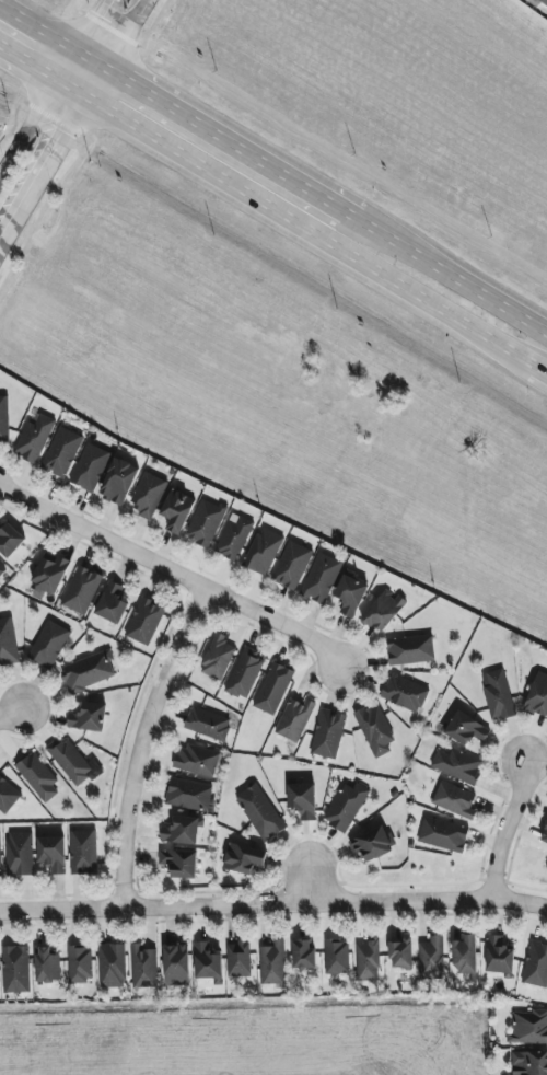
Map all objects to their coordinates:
building: (543, 1)
road: (51, 37)
road: (28, 61)
road: (53, 85)
road: (72, 120)
road: (229, 143)
road: (294, 222)
road: (400, 245)
road: (497, 303)
road: (539, 370)
building: (3, 419)
building: (34, 437)
building: (61, 452)
building: (90, 467)
building: (118, 482)
building: (148, 495)
building: (177, 510)
building: (206, 523)
building: (234, 537)
building: (10, 540)
building: (264, 552)
building: (292, 565)
building: (2, 569)
building: (50, 573)
road: (172, 575)
building: (322, 578)
building: (0, 583)
building: (81, 590)
building: (351, 594)
building: (112, 603)
building: (384, 611)
building: (146, 621)
building: (8, 643)
building: (49, 644)
building: (410, 649)
building: (218, 658)
building: (88, 672)
building: (245, 673)
building: (273, 689)
building: (405, 693)
building: (538, 695)
building: (499, 696)
road: (9, 712)
building: (89, 717)
building: (294, 719)
building: (208, 724)
building: (466, 729)
building: (375, 731)
building: (328, 733)
road: (140, 741)
building: (70, 760)
building: (197, 761)
building: (457, 765)
building: (38, 777)
building: (188, 795)
building: (8, 796)
building: (302, 800)
building: (455, 800)
building: (346, 807)
building: (260, 812)
road: (505, 828)
building: (181, 831)
building: (444, 834)
building: (372, 843)
building: (83, 852)
building: (20, 854)
building: (53, 854)
building: (0, 857)
building: (243, 858)
building: (179, 863)
road: (305, 882)
road: (273, 901)
building: (400, 953)
building: (303, 955)
building: (466, 956)
building: (499, 956)
building: (336, 957)
building: (432, 958)
building: (238, 959)
building: (368, 961)
building: (207, 962)
building: (272, 963)
building: (80, 964)
building: (47, 966)
building: (112, 966)
building: (176, 966)
building: (536, 966)
building: (143, 967)
building: (15, 969)
building: (528, 1028)
building: (529, 1063)

